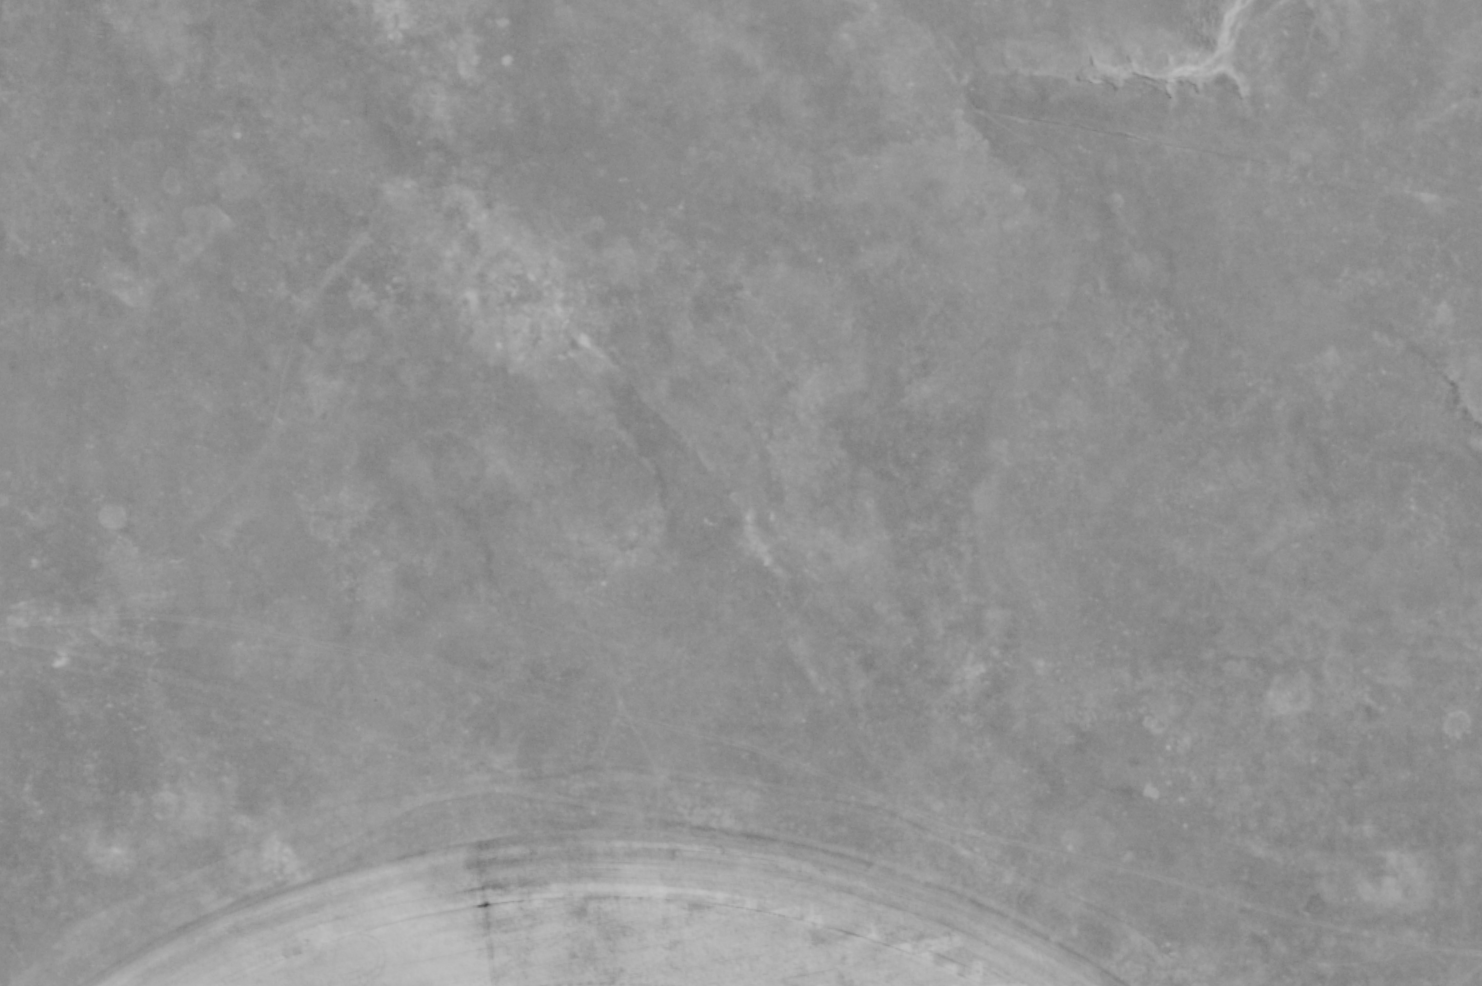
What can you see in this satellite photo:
crop: (598, 937)

